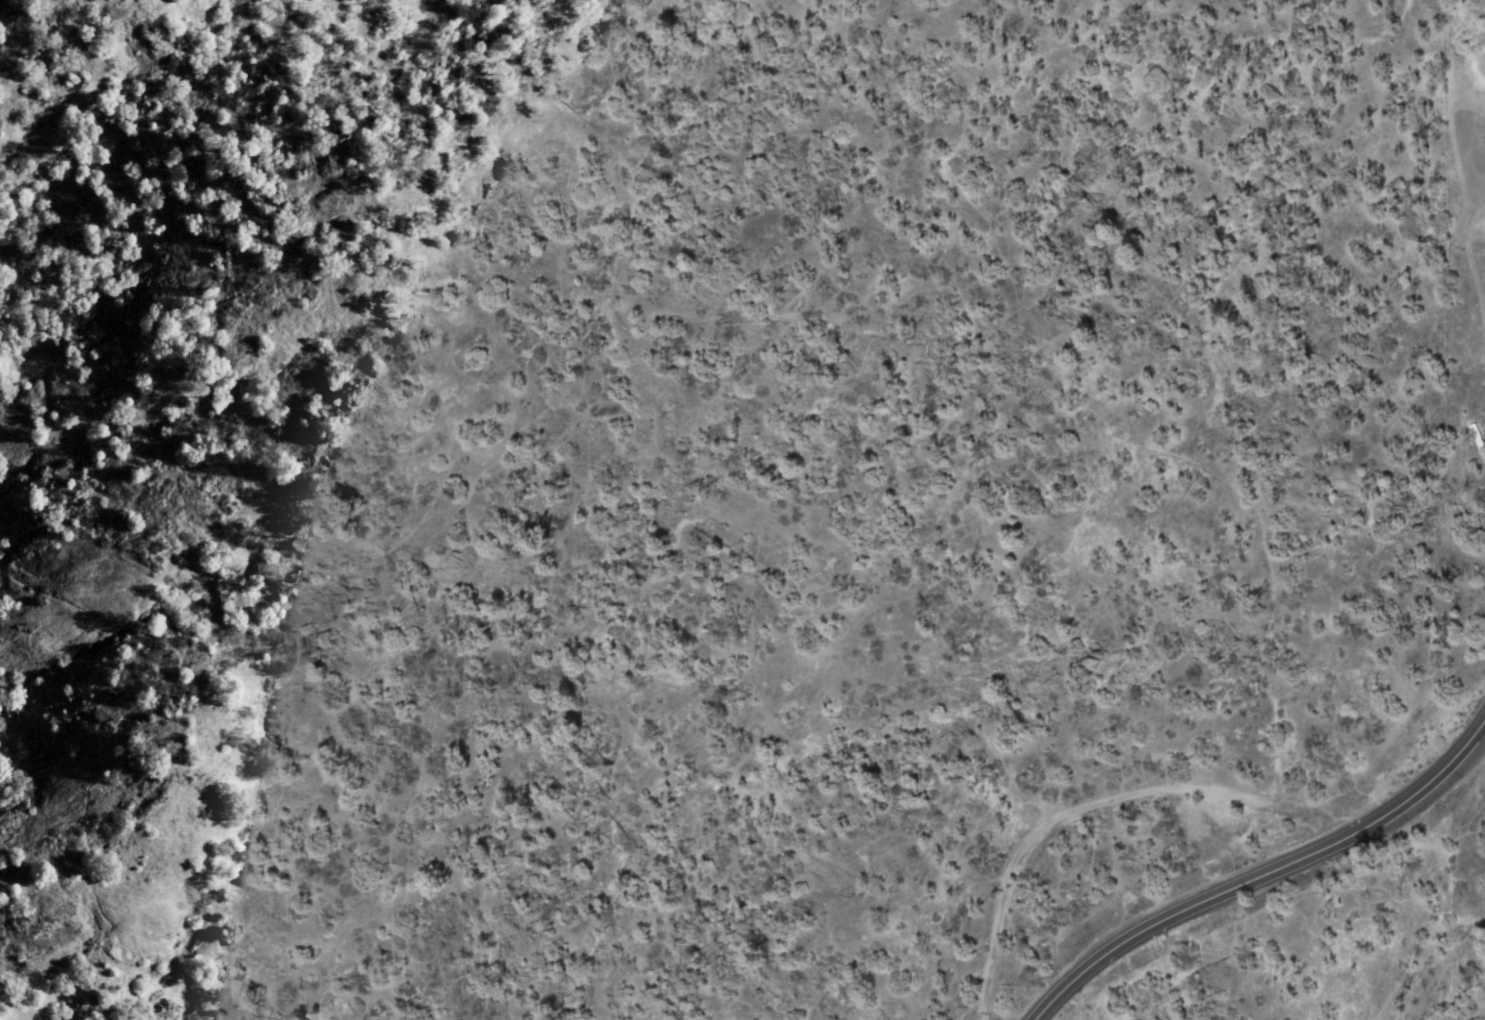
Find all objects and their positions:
road: (1263, 876)

